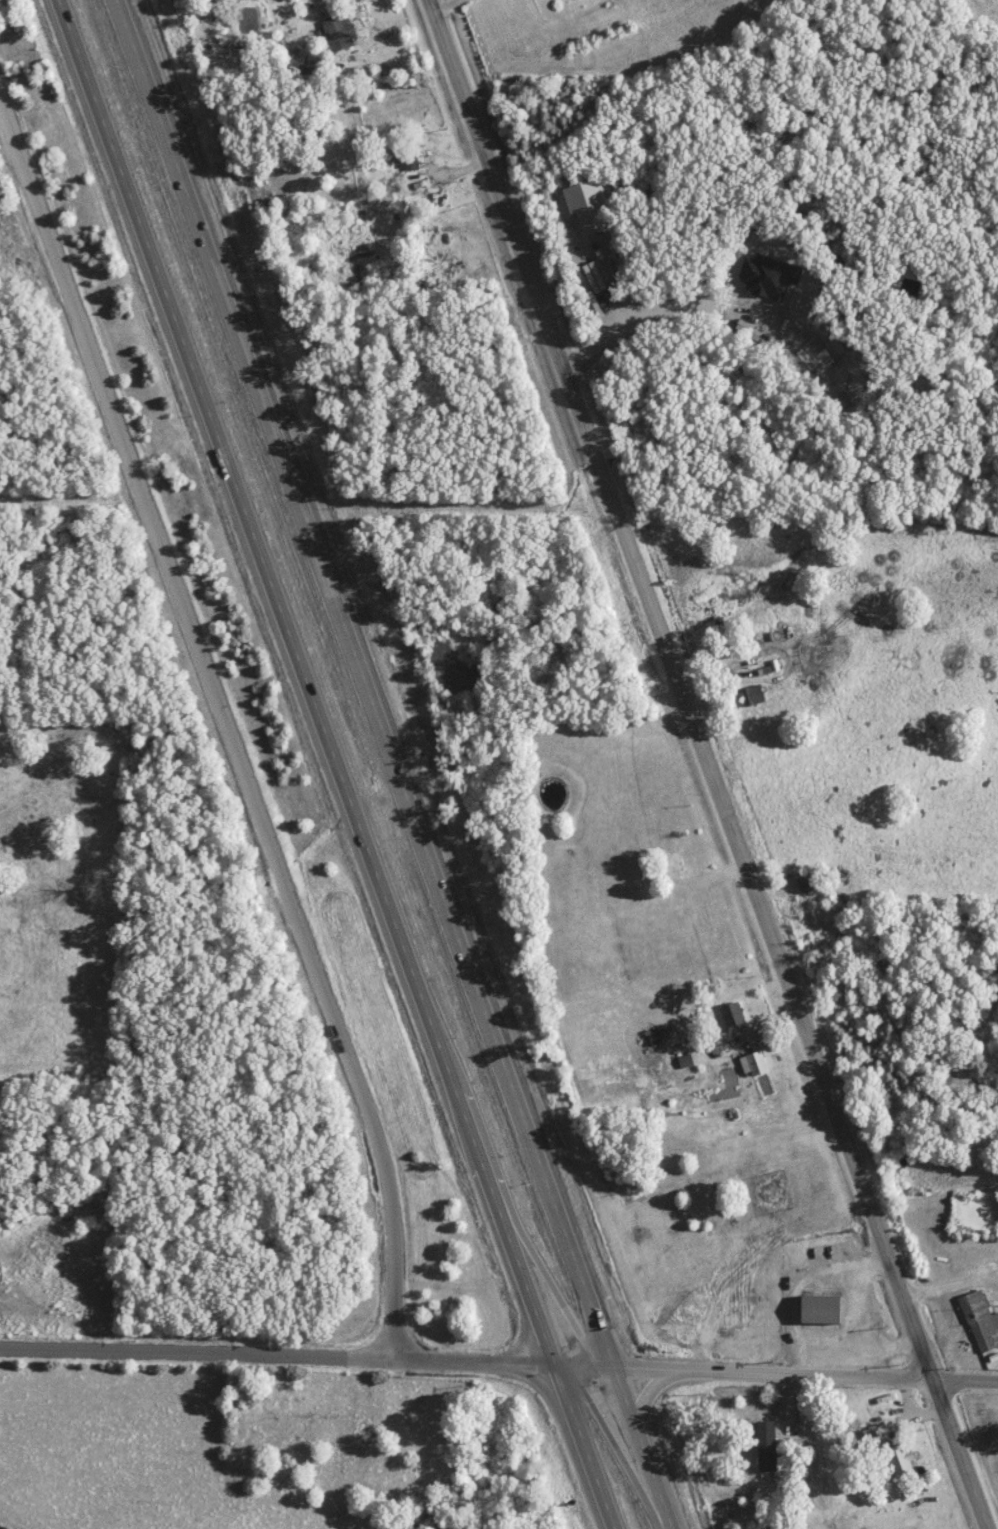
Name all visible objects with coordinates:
road: (447, 5)
building: (335, 33)
building: (408, 169)
road: (644, 318)
building: (817, 639)
building: (752, 695)
road: (229, 736)
road: (334, 764)
road: (395, 764)
road: (709, 764)
building: (807, 883)
building: (731, 1017)
building: (684, 1061)
building: (753, 1064)
building: (817, 1310)
building: (979, 1321)
road: (499, 1365)
building: (873, 1436)
building: (764, 1447)
building: (898, 1459)

